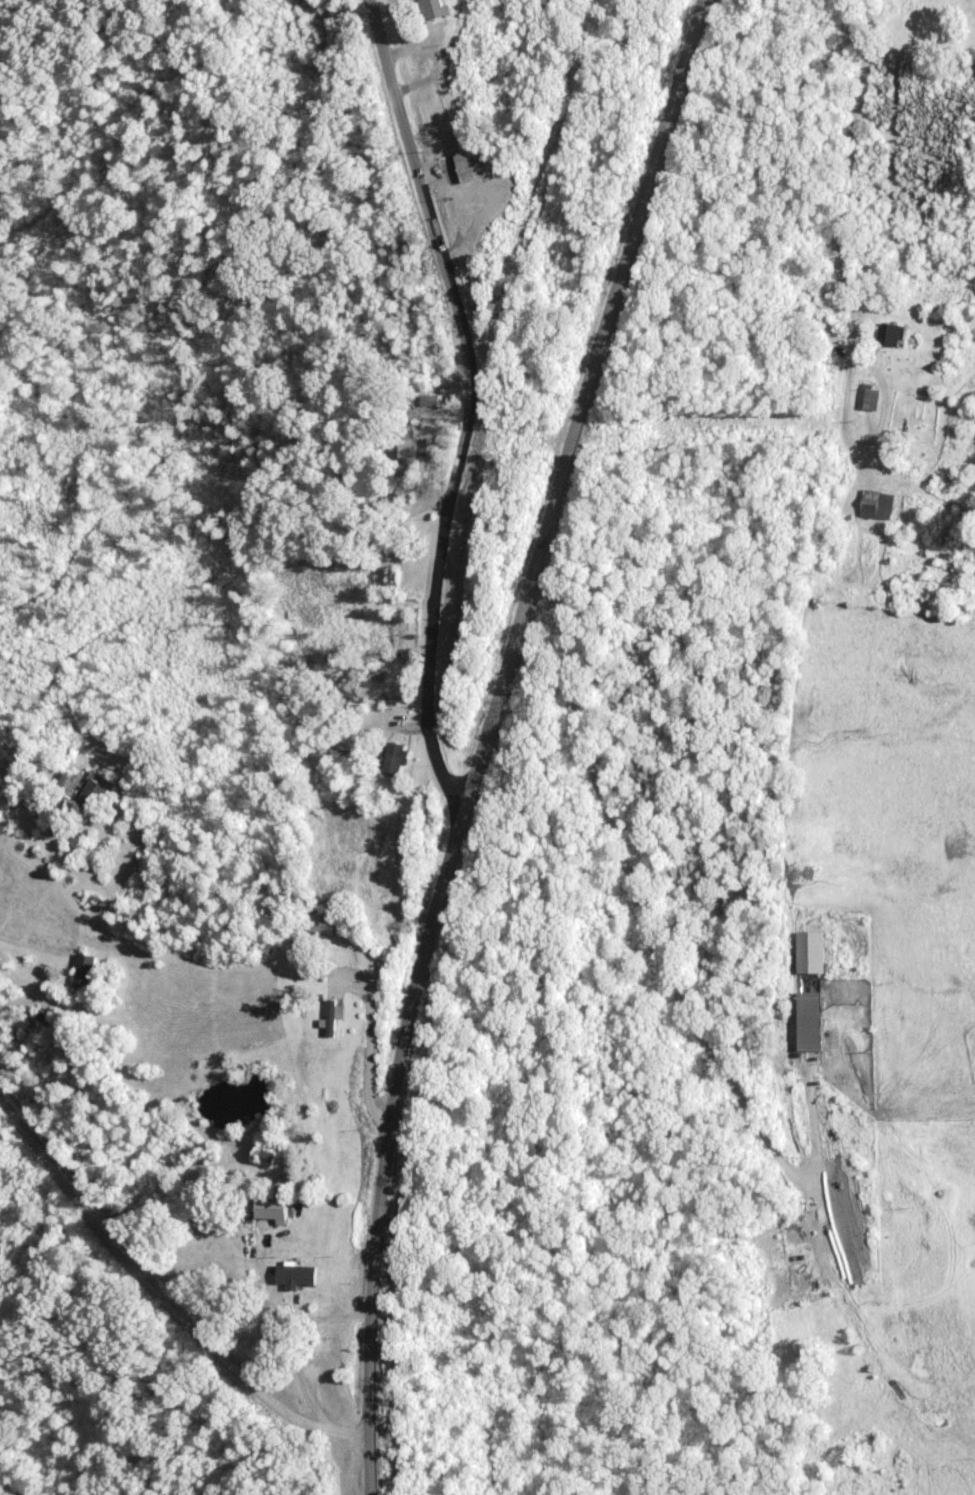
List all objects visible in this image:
building: (437, 9)
building: (343, 13)
building: (483, 162)
road: (843, 212)
building: (894, 333)
building: (868, 397)
road: (474, 399)
building: (415, 446)
building: (879, 503)
building: (392, 577)
road: (488, 738)
building: (320, 748)
building: (399, 753)
road: (17, 772)
building: (104, 779)
building: (84, 967)
building: (338, 1009)
building: (816, 1019)
road: (732, 1047)
building: (268, 1155)
road: (163, 1299)

